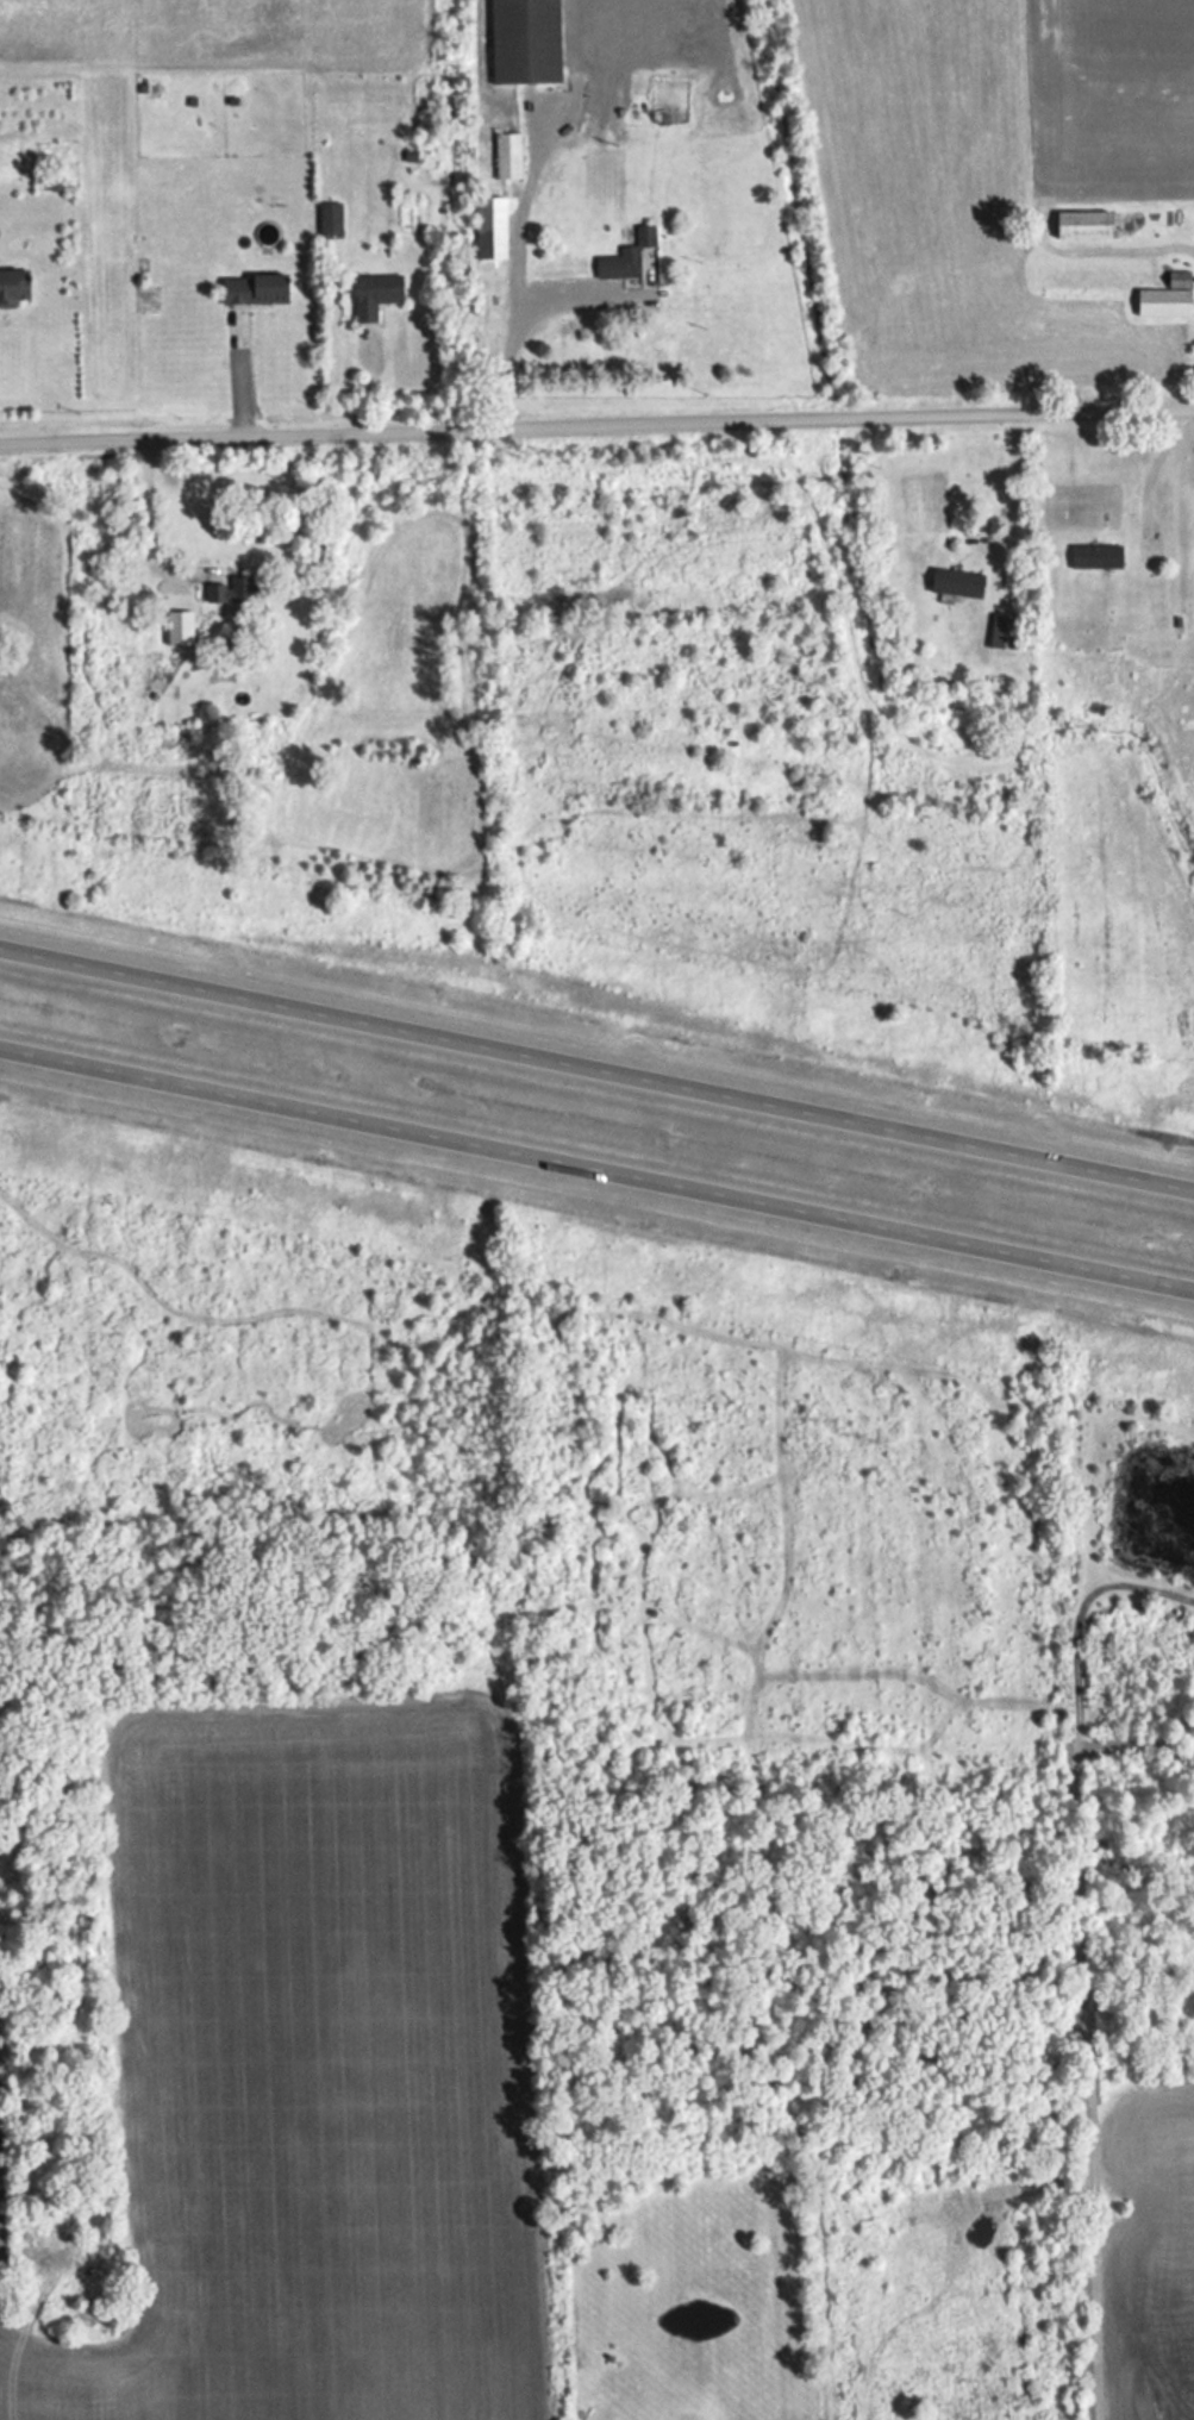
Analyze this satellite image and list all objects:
building: (529, 40)
building: (512, 154)
building: (1089, 223)
building: (495, 225)
road: (1134, 246)
building: (630, 255)
building: (17, 286)
building: (261, 287)
building: (380, 292)
building: (1169, 298)
road: (524, 326)
road: (596, 423)
road: (1162, 468)
road: (1020, 480)
road: (144, 517)
building: (1101, 555)
building: (962, 581)
building: (231, 588)
building: (1008, 630)
road: (596, 1063)
road: (596, 1164)

